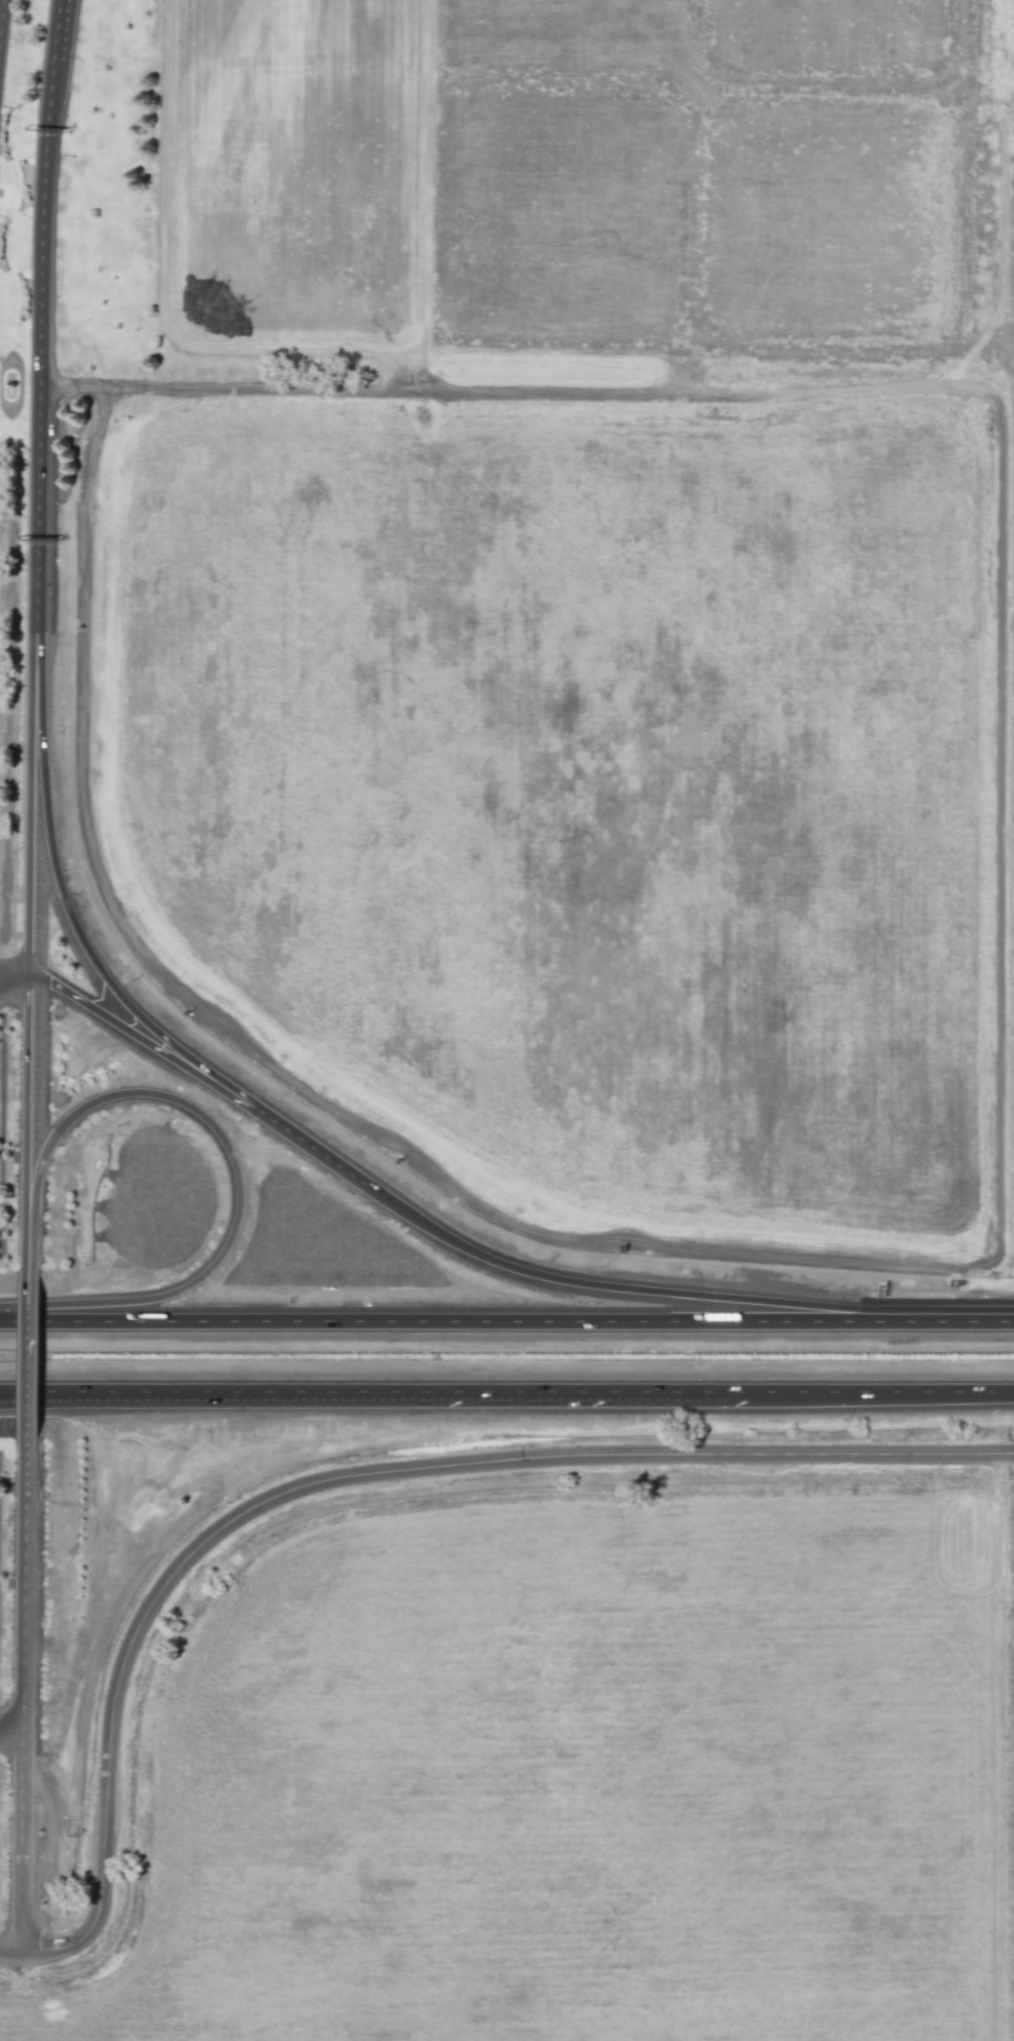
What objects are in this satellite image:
road: (1, 13)
road: (56, 15)
road: (63, 15)
road: (41, 316)
airport: (507, 636)
road: (31, 791)
road: (89, 955)
road: (13, 978)
road: (196, 1077)
road: (25, 1101)
road: (238, 1170)
road: (28, 1248)
road: (631, 1290)
road: (461, 1323)
road: (969, 1323)
road: (27, 1356)
road: (61, 1393)
road: (442, 1393)
road: (888, 1393)
road: (61, 1398)
road: (343, 1477)
road: (23, 1593)
road: (10, 1725)
road: (11, 1744)
crop: (576, 1785)
road: (47, 1822)
road: (20, 1847)

